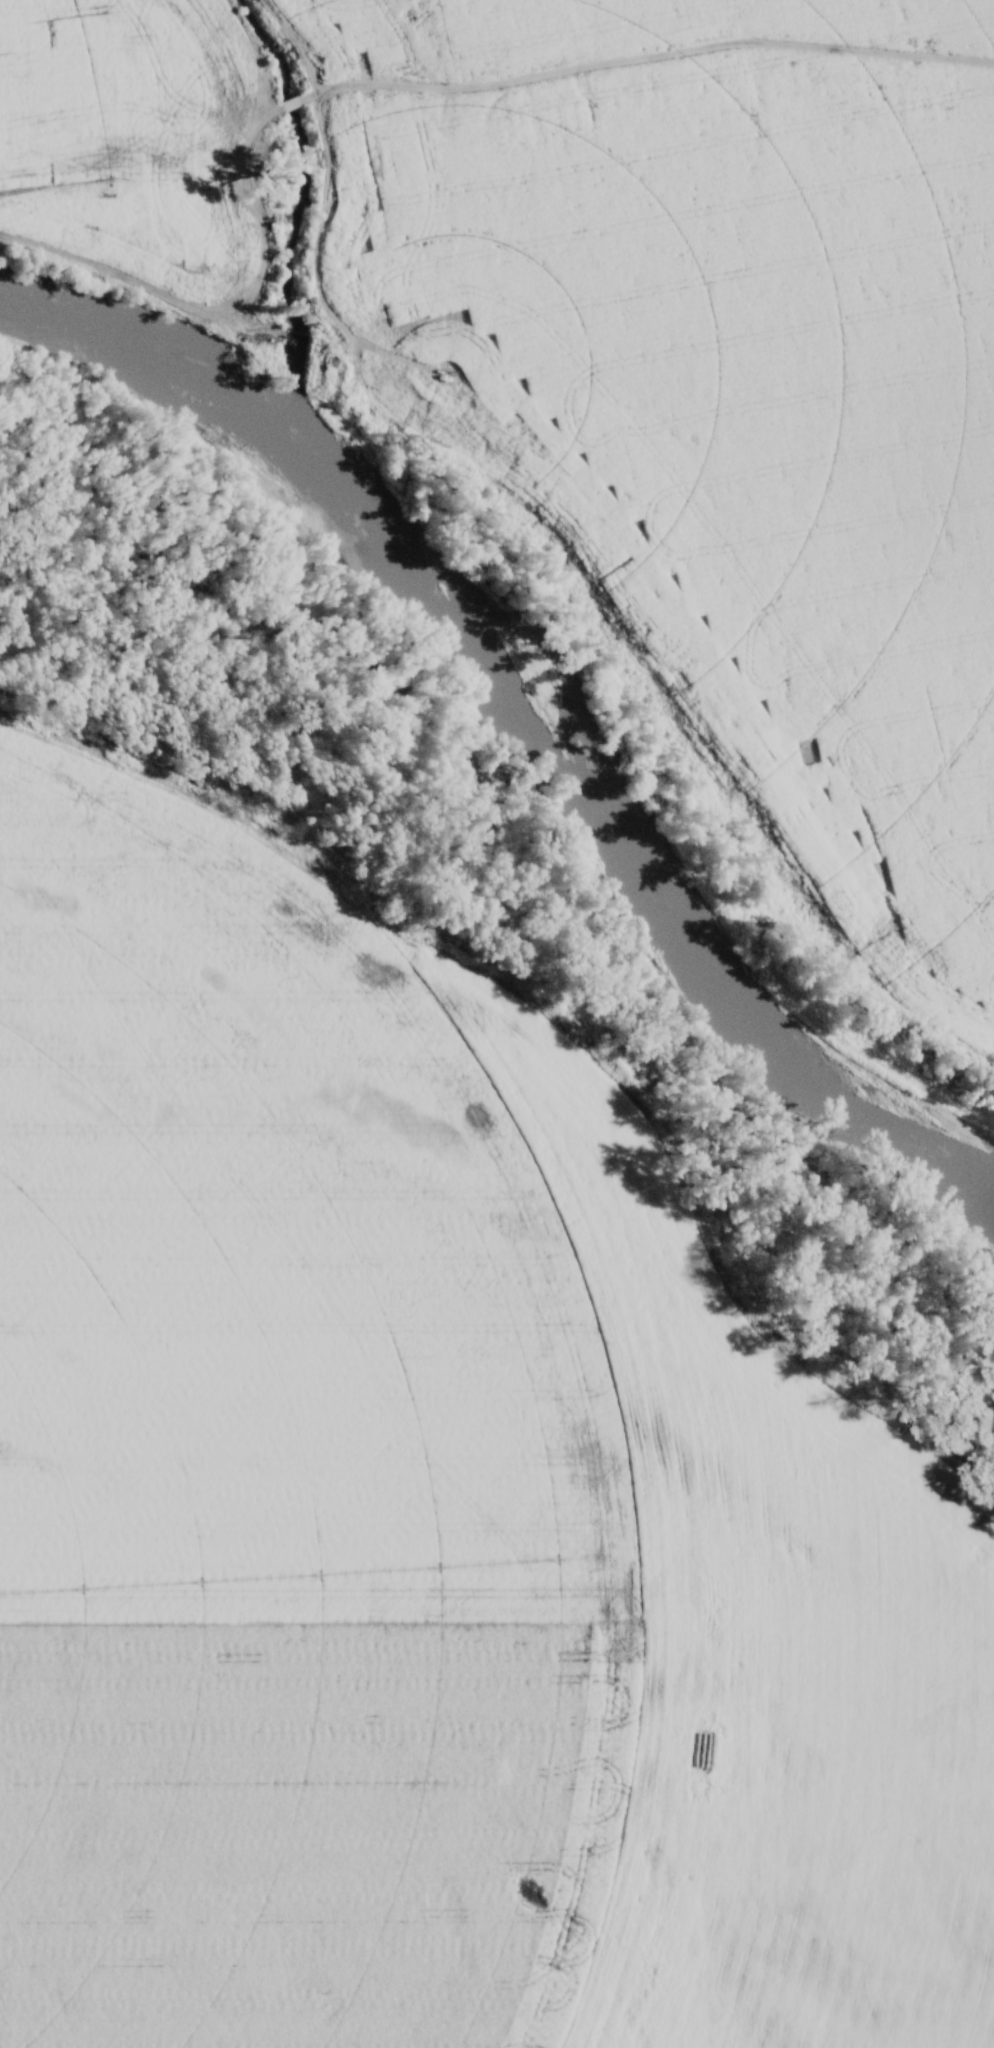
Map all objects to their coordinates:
river: (509, 711)

